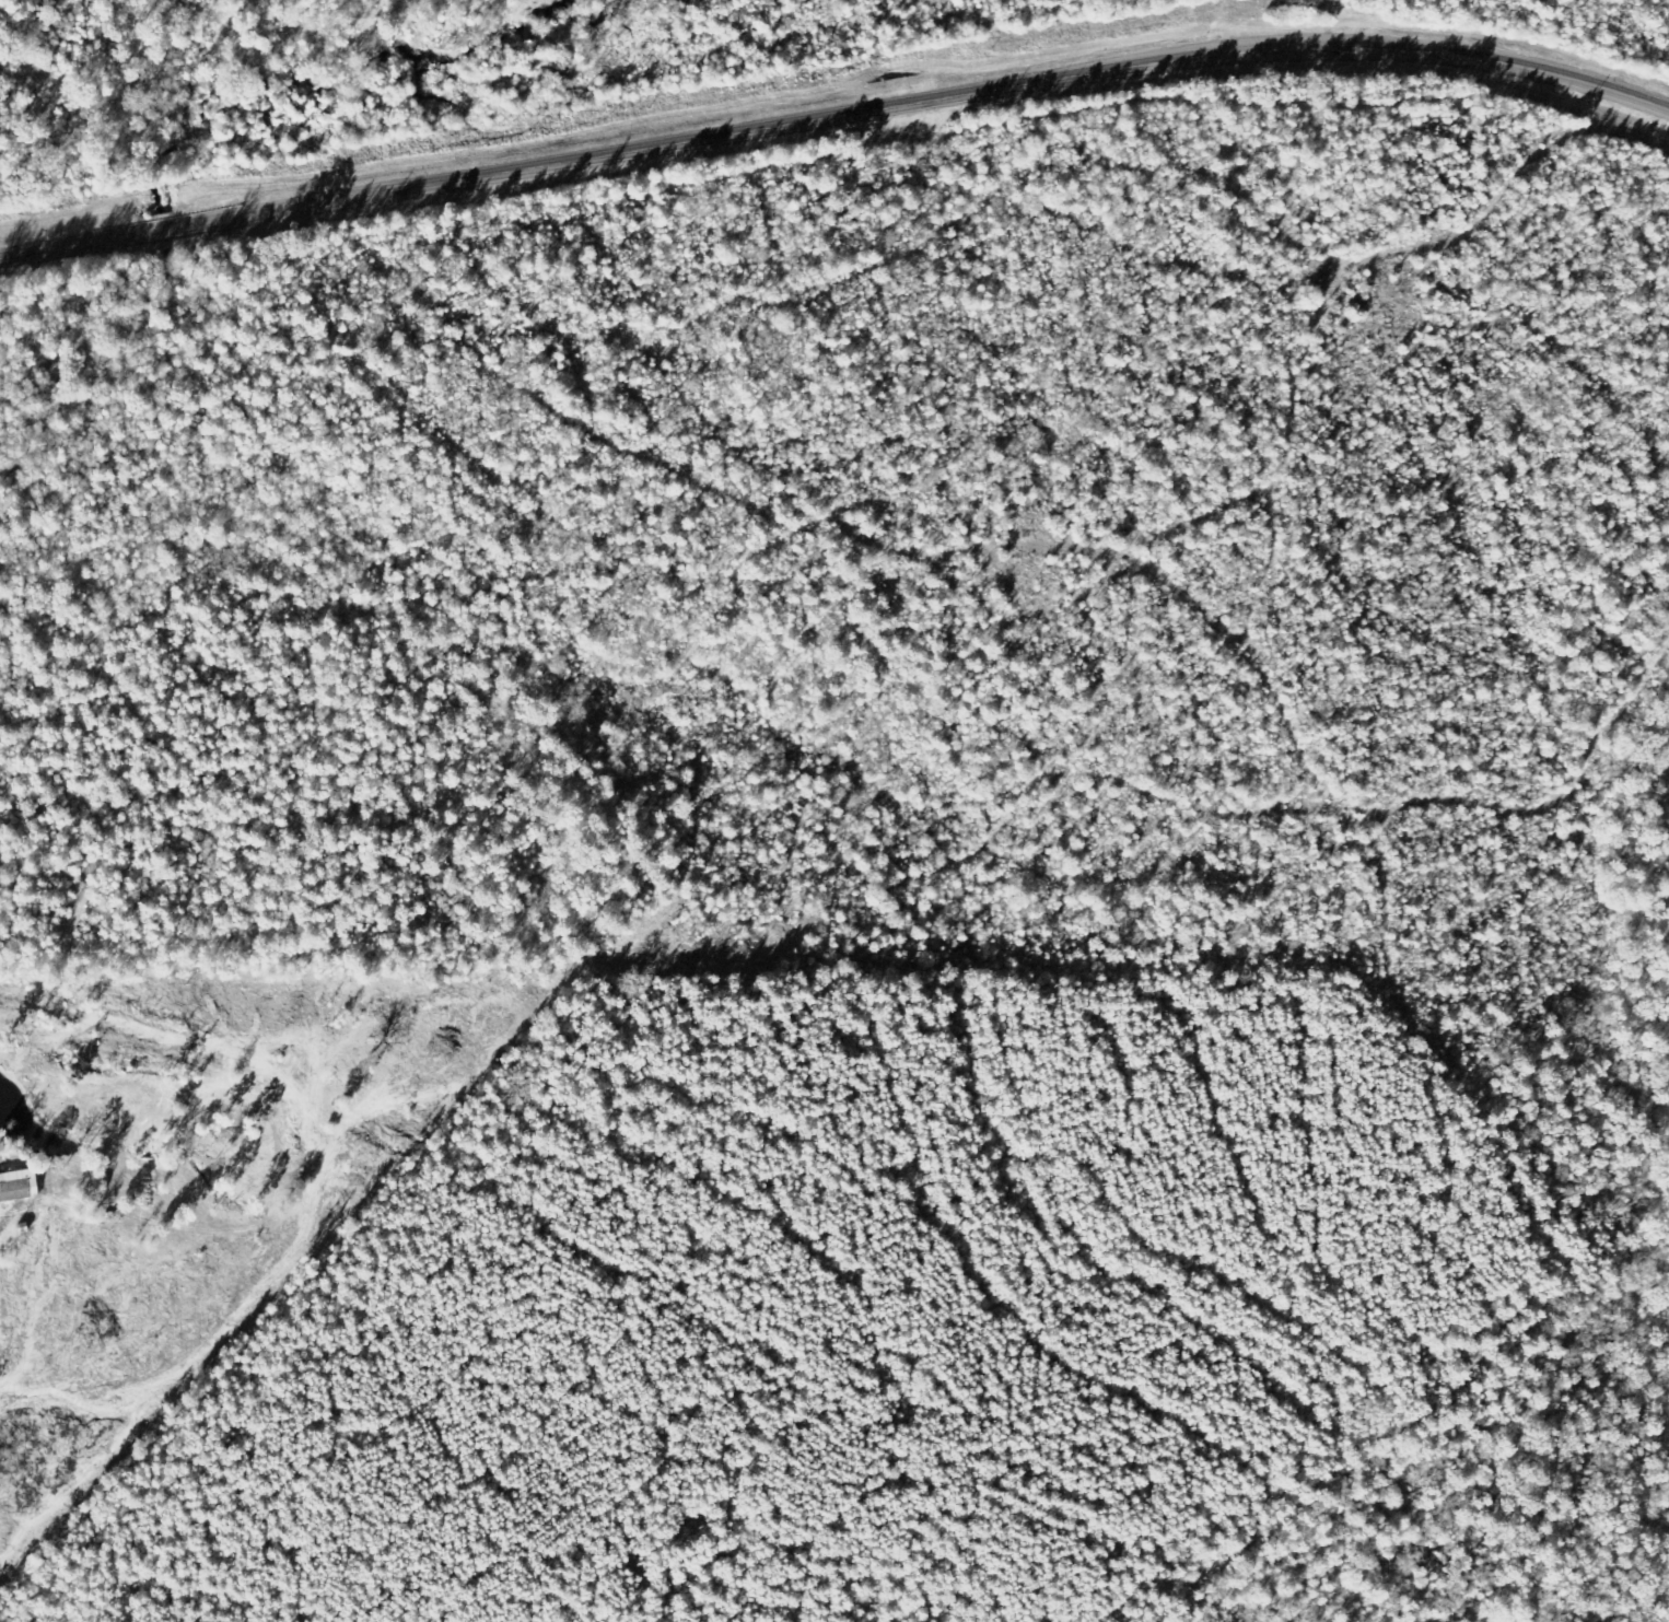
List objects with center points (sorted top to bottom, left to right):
road: (834, 116)
building: (19, 1188)

